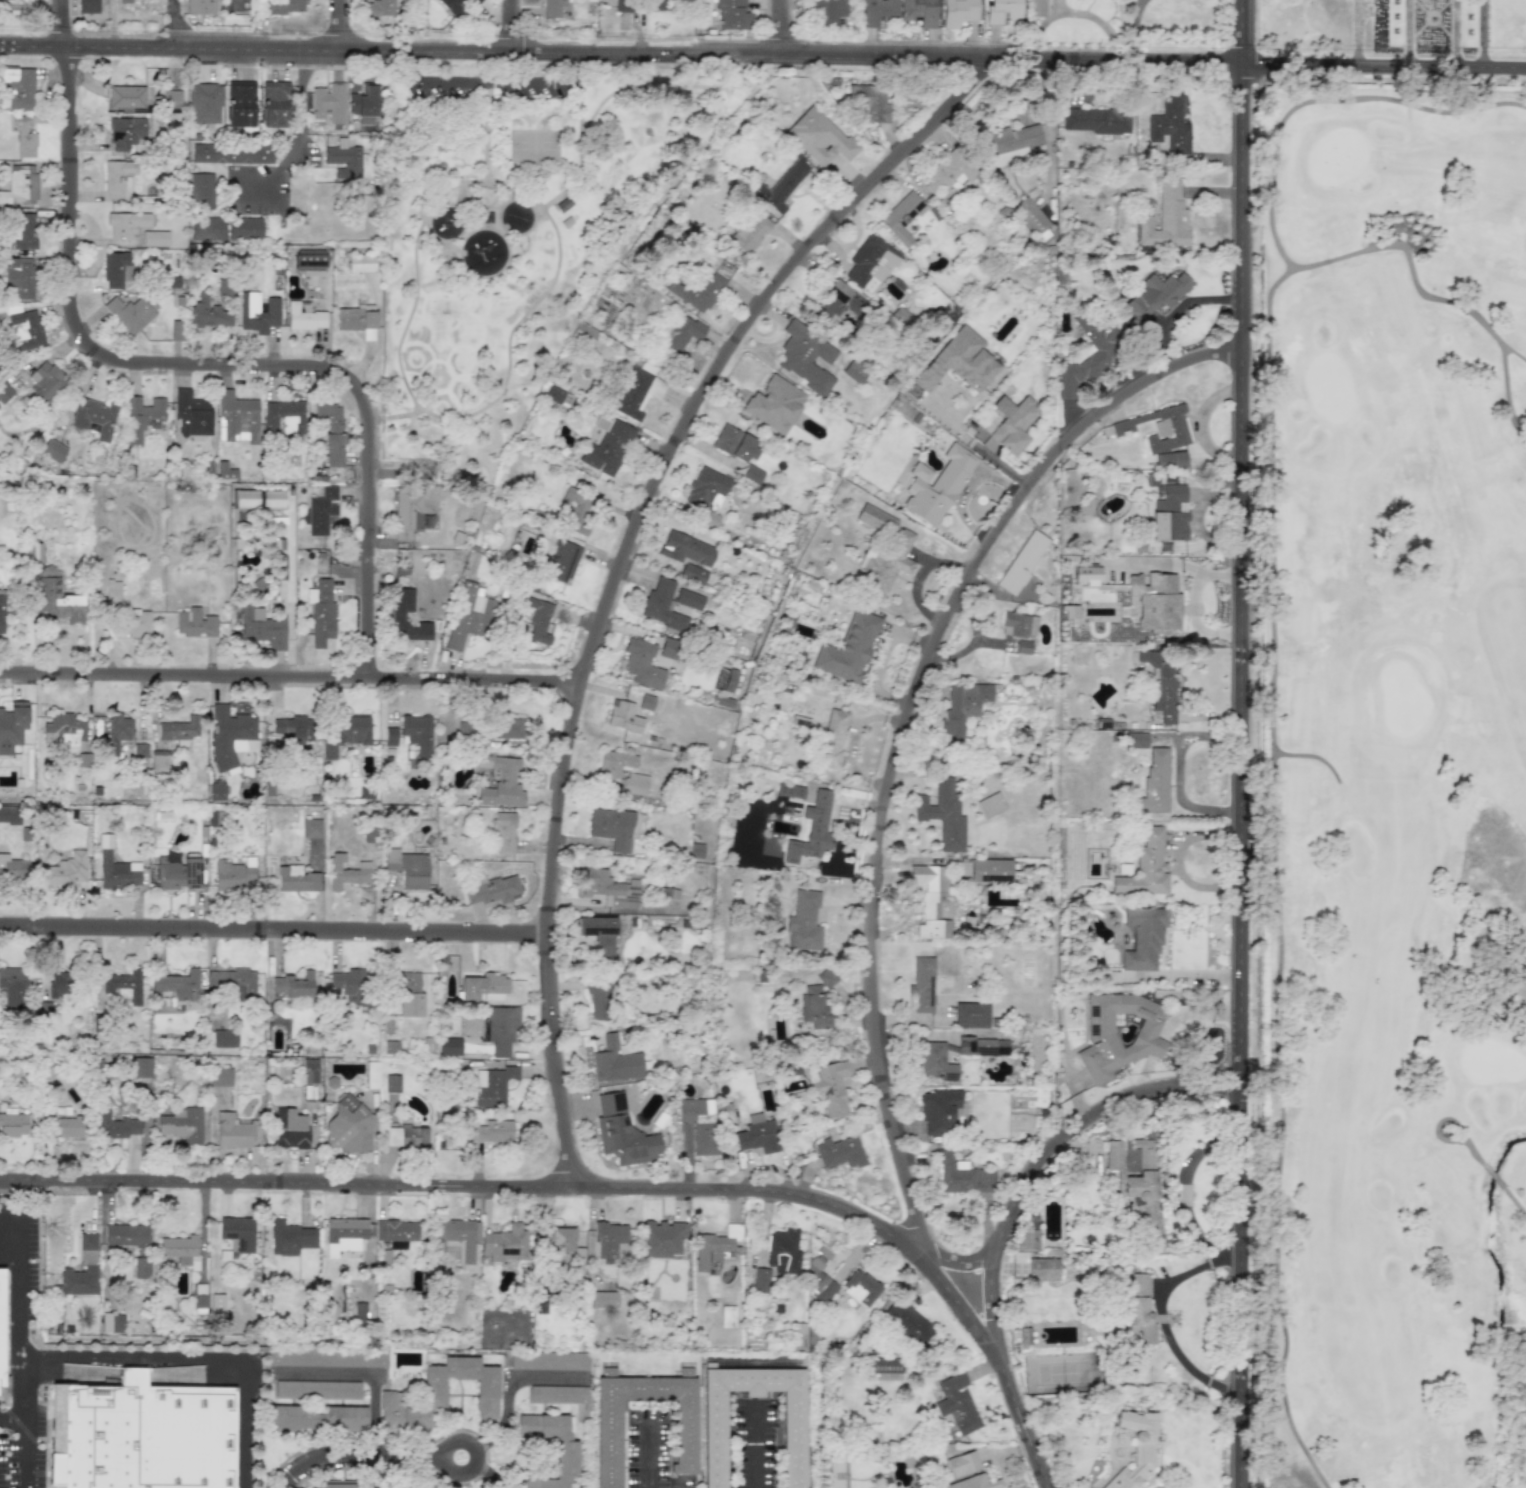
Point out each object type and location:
building: (122, 1)
building: (641, 5)
building: (87, 6)
building: (283, 6)
building: (456, 6)
building: (199, 7)
building: (380, 7)
building: (552, 7)
building: (1036, 8)
building: (1002, 10)
building: (960, 11)
road: (1072, 11)
building: (828, 12)
building: (918, 12)
building: (732, 15)
road: (172, 24)
road: (336, 24)
road: (509, 25)
road: (778, 28)
road: (1134, 30)
road: (1242, 32)
road: (1407, 33)
road: (1455, 33)
road: (1482, 33)
road: (621, 52)
road: (1384, 66)
building: (19, 87)
road: (612, 95)
building: (126, 97)
road: (1324, 98)
building: (171, 99)
building: (869, 101)
building: (328, 102)
building: (204, 103)
building: (239, 103)
building: (274, 104)
building: (363, 104)
building: (1096, 120)
building: (1170, 125)
building: (126, 132)
road: (299, 132)
building: (23, 136)
road: (487, 137)
building: (819, 137)
building: (1010, 144)
park: (534, 147)
building: (231, 153)
building: (343, 159)
building: (948, 172)
building: (116, 177)
building: (779, 187)
building: (201, 190)
road: (525, 200)
road: (542, 208)
building: (1031, 216)
building: (902, 217)
building: (1166, 219)
building: (125, 223)
building: (207, 228)
building: (244, 228)
building: (23, 230)
building: (751, 232)
building: (154, 238)
park: (508, 254)
building: (309, 259)
building: (360, 263)
building: (871, 263)
building: (115, 269)
road: (1413, 275)
building: (18, 276)
building: (696, 291)
building: (1155, 296)
building: (831, 301)
road: (1179, 307)
building: (129, 312)
building: (257, 312)
building: (208, 314)
building: (304, 316)
building: (356, 321)
building: (175, 330)
building: (681, 333)
building: (584, 335)
building: (806, 357)
building: (959, 362)
road: (189, 363)
building: (854, 373)
building: (46, 381)
building: (4, 391)
building: (637, 391)
road: (1506, 392)
building: (554, 394)
building: (775, 404)
building: (902, 406)
building: (191, 412)
road: (399, 413)
building: (142, 416)
building: (93, 417)
building: (237, 417)
building: (283, 417)
building: (1013, 423)
road: (1197, 423)
building: (1158, 429)
building: (330, 431)
building: (734, 443)
building: (607, 445)
building: (52, 450)
building: (225, 470)
building: (752, 474)
building: (1161, 479)
building: (937, 486)
building: (705, 488)
building: (259, 498)
building: (321, 510)
building: (577, 511)
building: (406, 512)
building: (1170, 514)
road: (1196, 515)
building: (876, 520)
building: (686, 549)
building: (561, 560)
building: (886, 562)
building: (1022, 562)
road: (619, 566)
building: (693, 574)
building: (1088, 575)
building: (112, 591)
building: (57, 597)
building: (689, 599)
building: (1156, 602)
building: (662, 605)
building: (1069, 611)
building: (1, 612)
building: (321, 612)
building: (468, 615)
building: (398, 617)
building: (537, 620)
building: (194, 622)
building: (137, 624)
building: (1019, 625)
building: (262, 627)
building: (1023, 647)
building: (849, 648)
building: (671, 649)
building: (642, 664)
road: (288, 673)
building: (730, 680)
building: (1160, 686)
building: (646, 702)
building: (963, 708)
building: (620, 713)
building: (12, 725)
building: (179, 728)
building: (292, 728)
building: (505, 728)
building: (66, 730)
building: (116, 732)
building: (344, 733)
building: (418, 735)
building: (230, 736)
building: (390, 736)
building: (833, 738)
road: (1310, 756)
building: (159, 758)
building: (615, 763)
road: (1243, 775)
road: (885, 779)
building: (500, 781)
building: (1154, 782)
building: (635, 784)
park: (1393, 787)
building: (217, 791)
building: (790, 791)
building: (991, 805)
building: (9, 814)
building: (943, 815)
building: (311, 828)
building: (612, 828)
building: (812, 830)
building: (503, 833)
building: (696, 850)
building: (8, 867)
building: (1146, 867)
building: (115, 868)
building: (408, 868)
building: (65, 870)
building: (990, 870)
building: (346, 872)
building: (178, 873)
building: (234, 874)
building: (295, 879)
road: (1275, 879)
building: (610, 887)
building: (491, 889)
building: (804, 921)
road: (272, 928)
building: (598, 932)
building: (1143, 938)
building: (826, 978)
building: (231, 982)
building: (58, 983)
building: (124, 984)
building: (177, 984)
building: (349, 984)
building: (294, 985)
building: (922, 985)
building: (13, 987)
building: (484, 987)
building: (409, 996)
building: (599, 1000)
building: (814, 1007)
building: (971, 1015)
building: (501, 1029)
building: (1119, 1034)
building: (224, 1038)
building: (449, 1046)
building: (982, 1046)
building: (615, 1061)
building: (934, 1061)
building: (140, 1067)
building: (794, 1069)
building: (310, 1071)
building: (372, 1075)
building: (220, 1076)
building: (392, 1083)
building: (493, 1086)
building: (831, 1088)
building: (938, 1111)
road: (1450, 1119)
building: (12, 1123)
building: (699, 1123)
building: (181, 1124)
building: (115, 1125)
building: (349, 1125)
building: (67, 1126)
building: (289, 1129)
building: (232, 1130)
building: (493, 1131)
building: (622, 1133)
building: (757, 1135)
building: (406, 1137)
building: (839, 1152)
building: (962, 1176)
building: (1138, 1184)
road: (467, 1186)
road: (17, 1192)
road: (1513, 1198)
road: (1006, 1211)
building: (237, 1232)
building: (397, 1233)
building: (125, 1234)
building: (346, 1235)
building: (457, 1237)
building: (290, 1238)
building: (661, 1238)
building: (1027, 1239)
building: (611, 1243)
building: (505, 1244)
building: (563, 1246)
building: (717, 1246)
building: (783, 1251)
building: (385, 1258)
building: (180, 1260)
road: (957, 1262)
building: (141, 1267)
building: (714, 1267)
building: (1043, 1269)
building: (79, 1272)
road: (15, 1277)
building: (760, 1280)
building: (821, 1286)
building: (860, 1287)
building: (604, 1299)
building: (217, 1302)
building: (1139, 1312)
building: (727, 1317)
road: (1160, 1318)
building: (908, 1322)
building: (112, 1323)
building: (1, 1332)
building: (1024, 1336)
building: (327, 1357)
road: (137, 1358)
road: (26, 1360)
building: (549, 1360)
building: (887, 1366)
road: (366, 1373)
building: (317, 1389)
road: (510, 1391)
building: (441, 1394)
building: (957, 1404)
road: (15, 1417)
building: (315, 1418)
road: (19, 1423)
road: (245, 1425)
road: (29, 1431)
building: (608, 1432)
building: (143, 1435)
road: (47, 1436)
building: (793, 1442)
road: (759, 1445)
building: (1135, 1449)
parking lot: (9, 1452)
road: (476, 1457)
road: (647, 1457)
road: (353, 1458)
building: (566, 1458)
building: (962, 1464)
building: (974, 1483)
building: (342, 1484)
building: (405, 1485)

